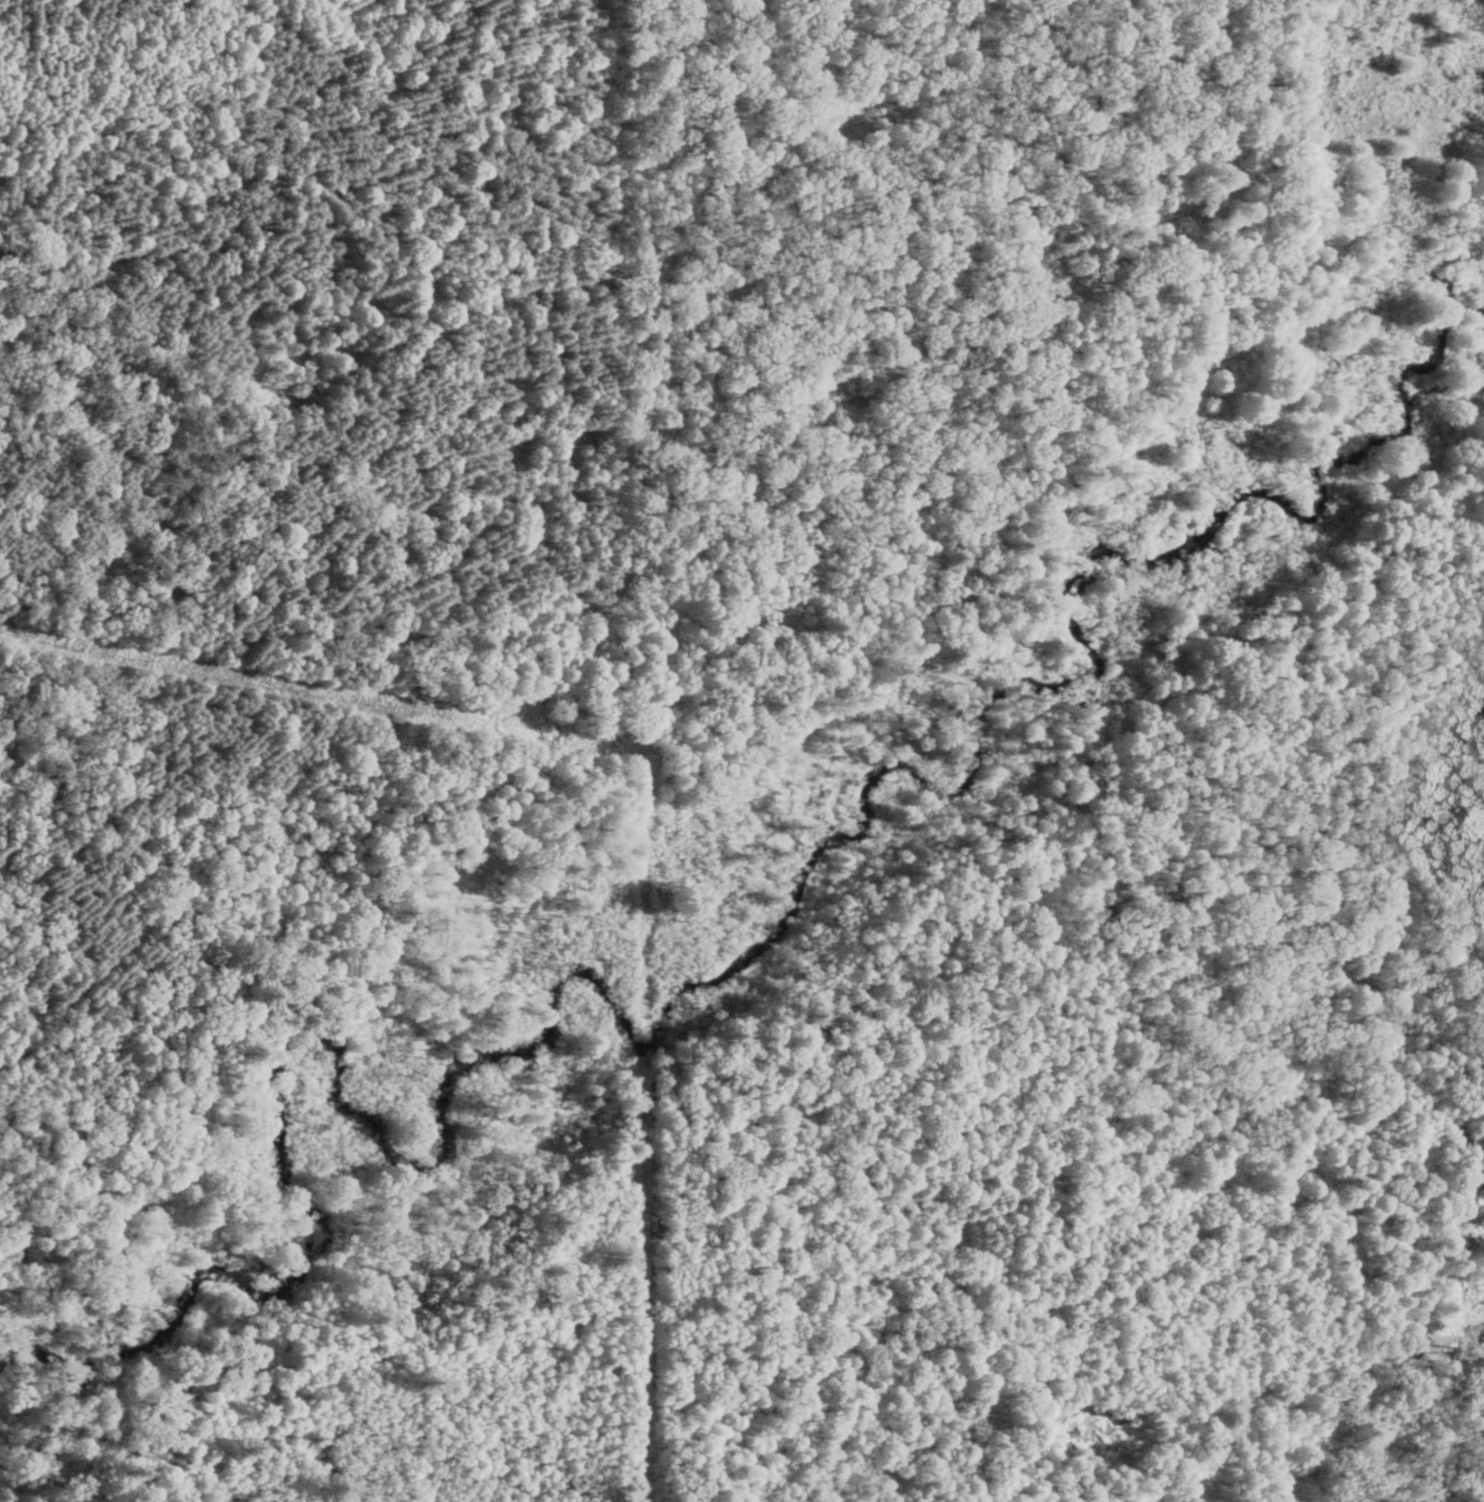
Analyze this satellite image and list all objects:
road: (1217, 1480)

